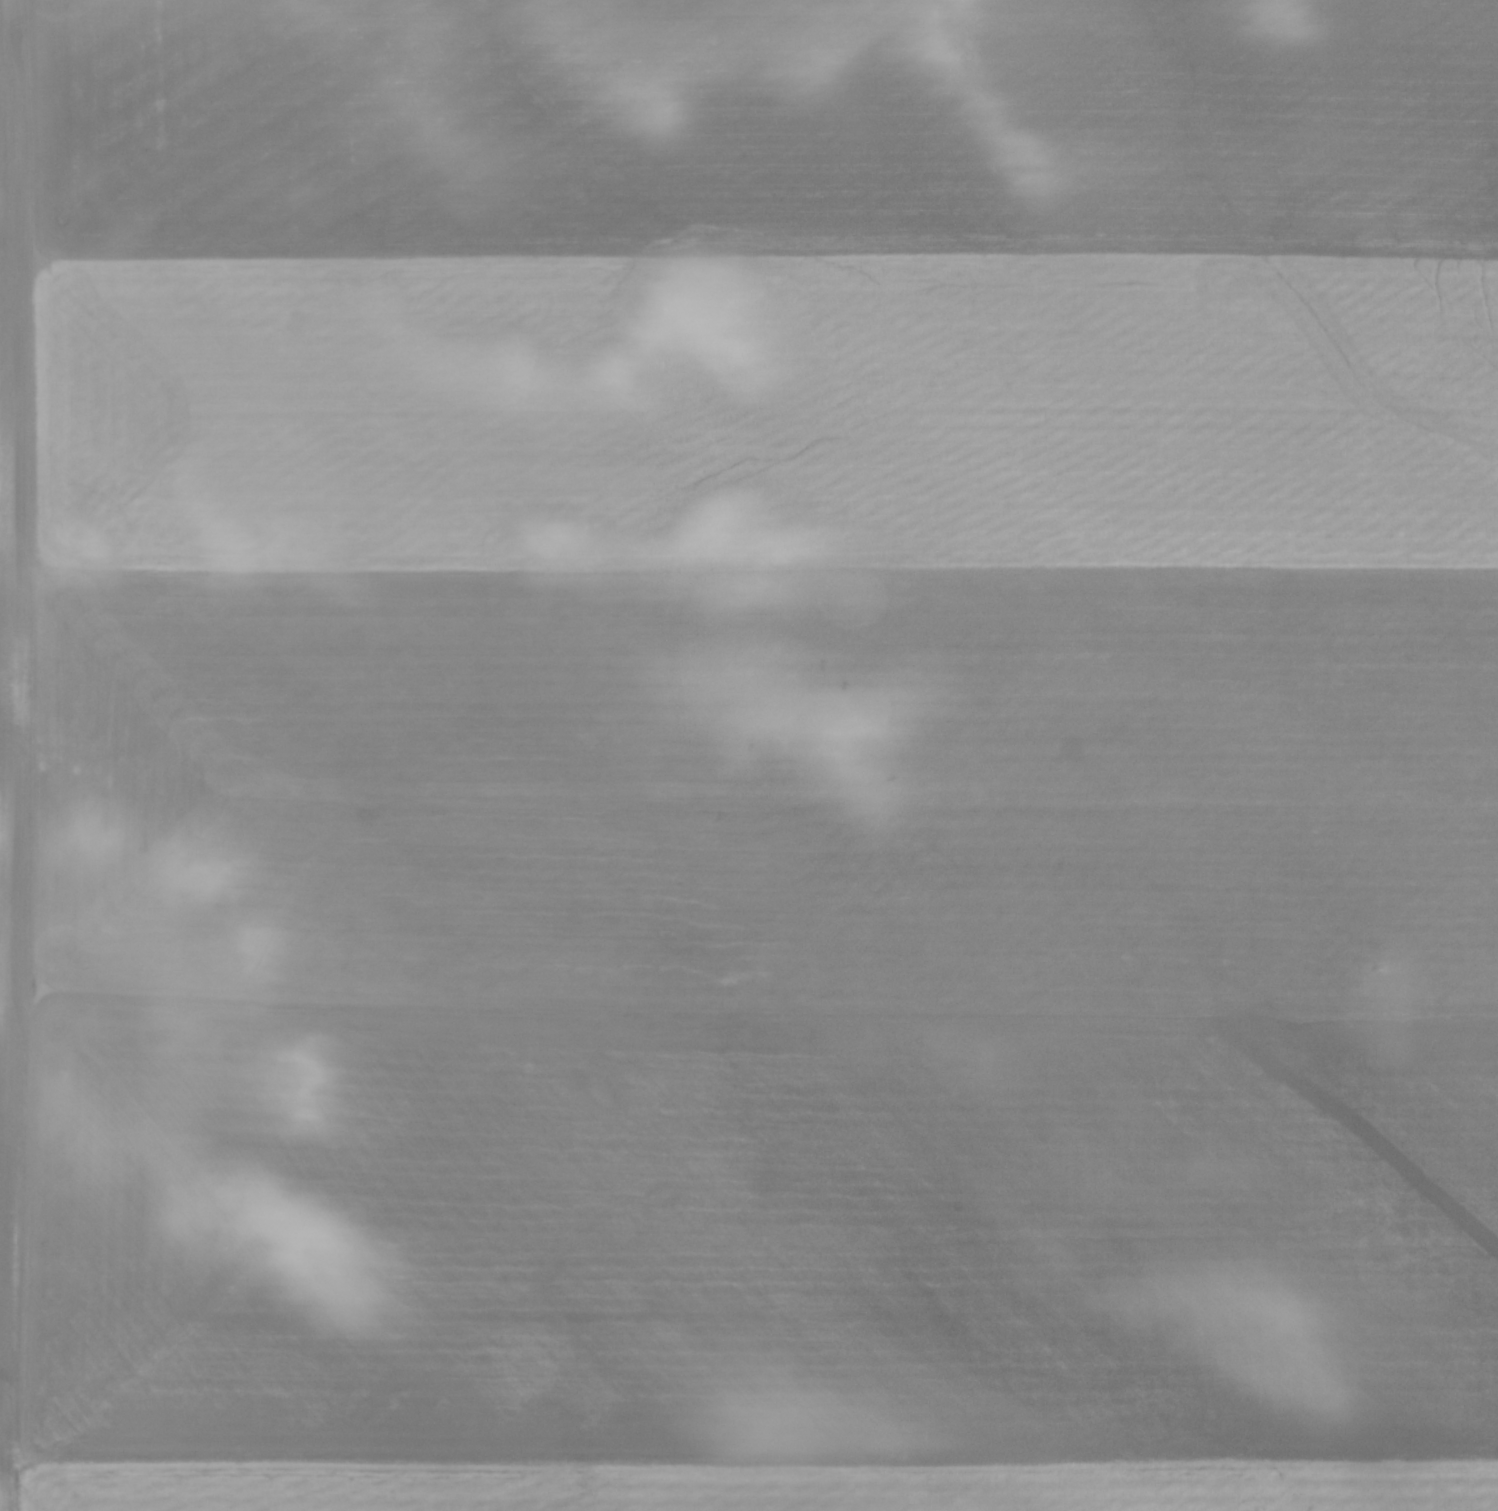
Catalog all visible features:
crop: (749, 755)

